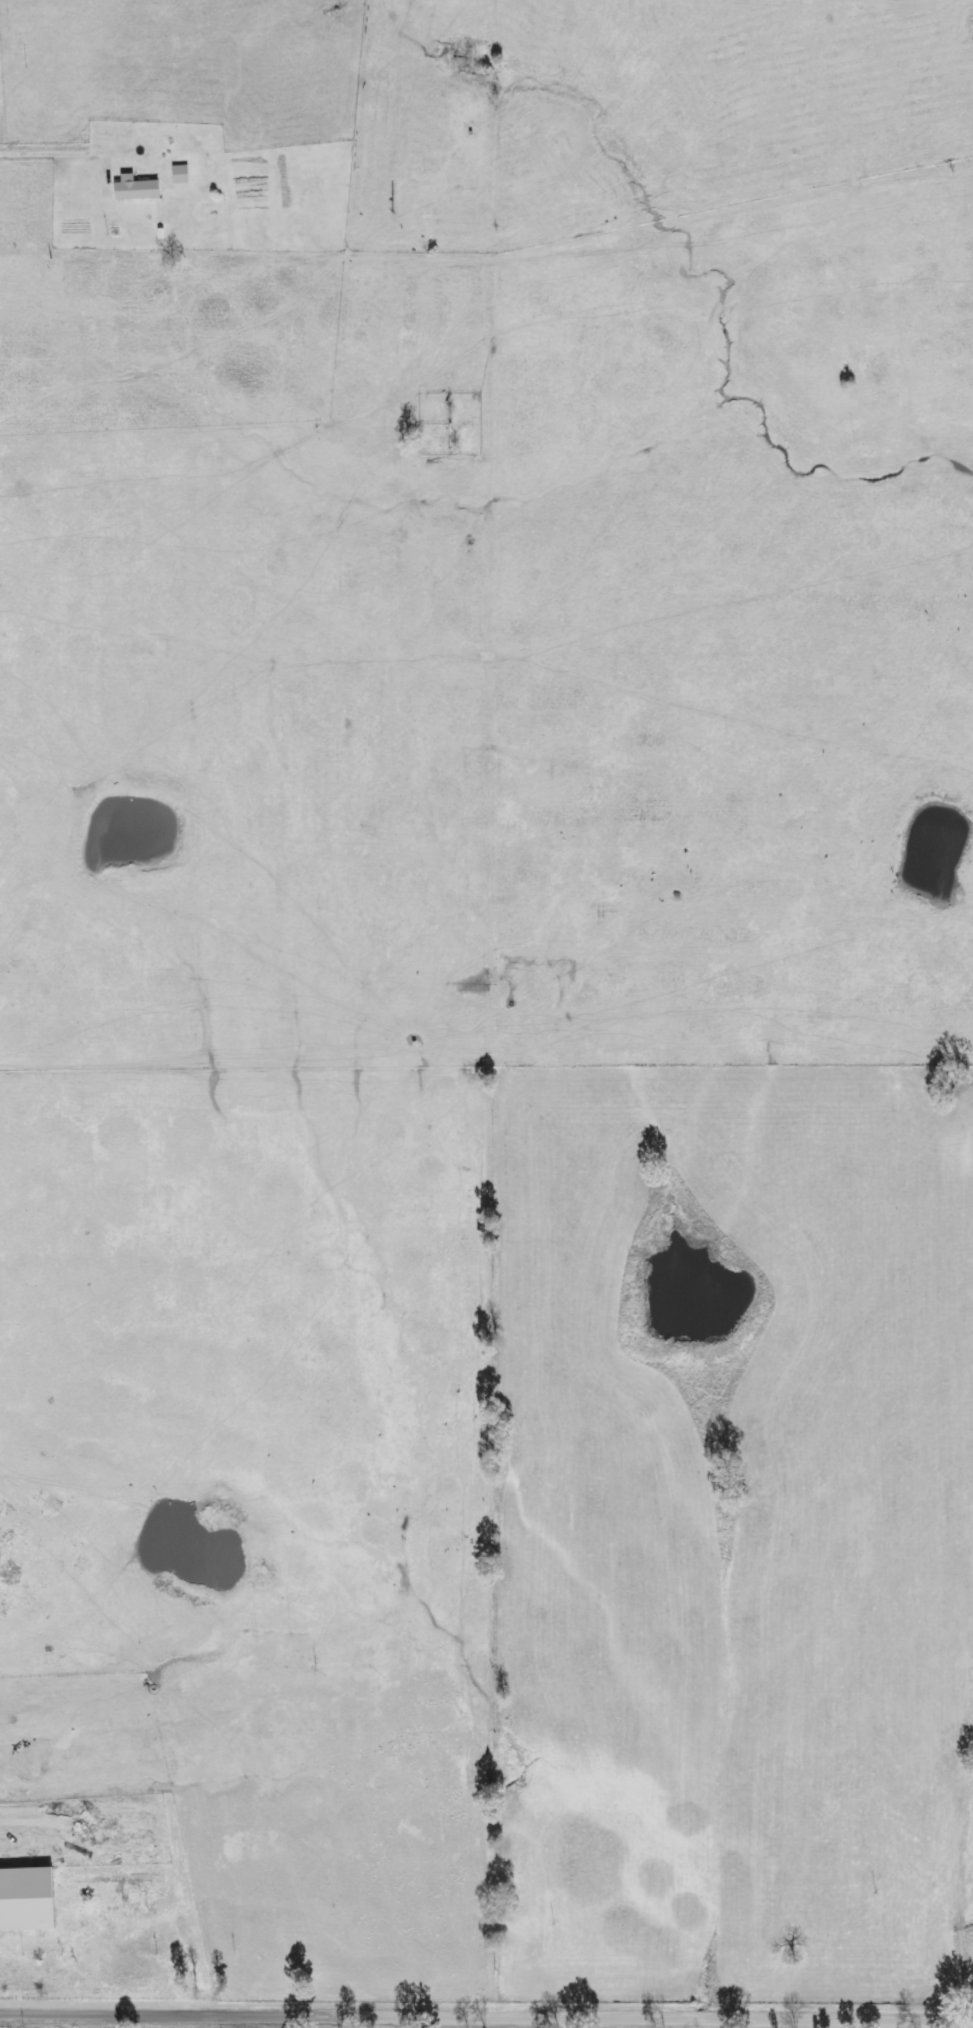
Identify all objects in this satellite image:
building: (180, 174)
building: (135, 189)
building: (26, 1899)
road: (486, 2018)

